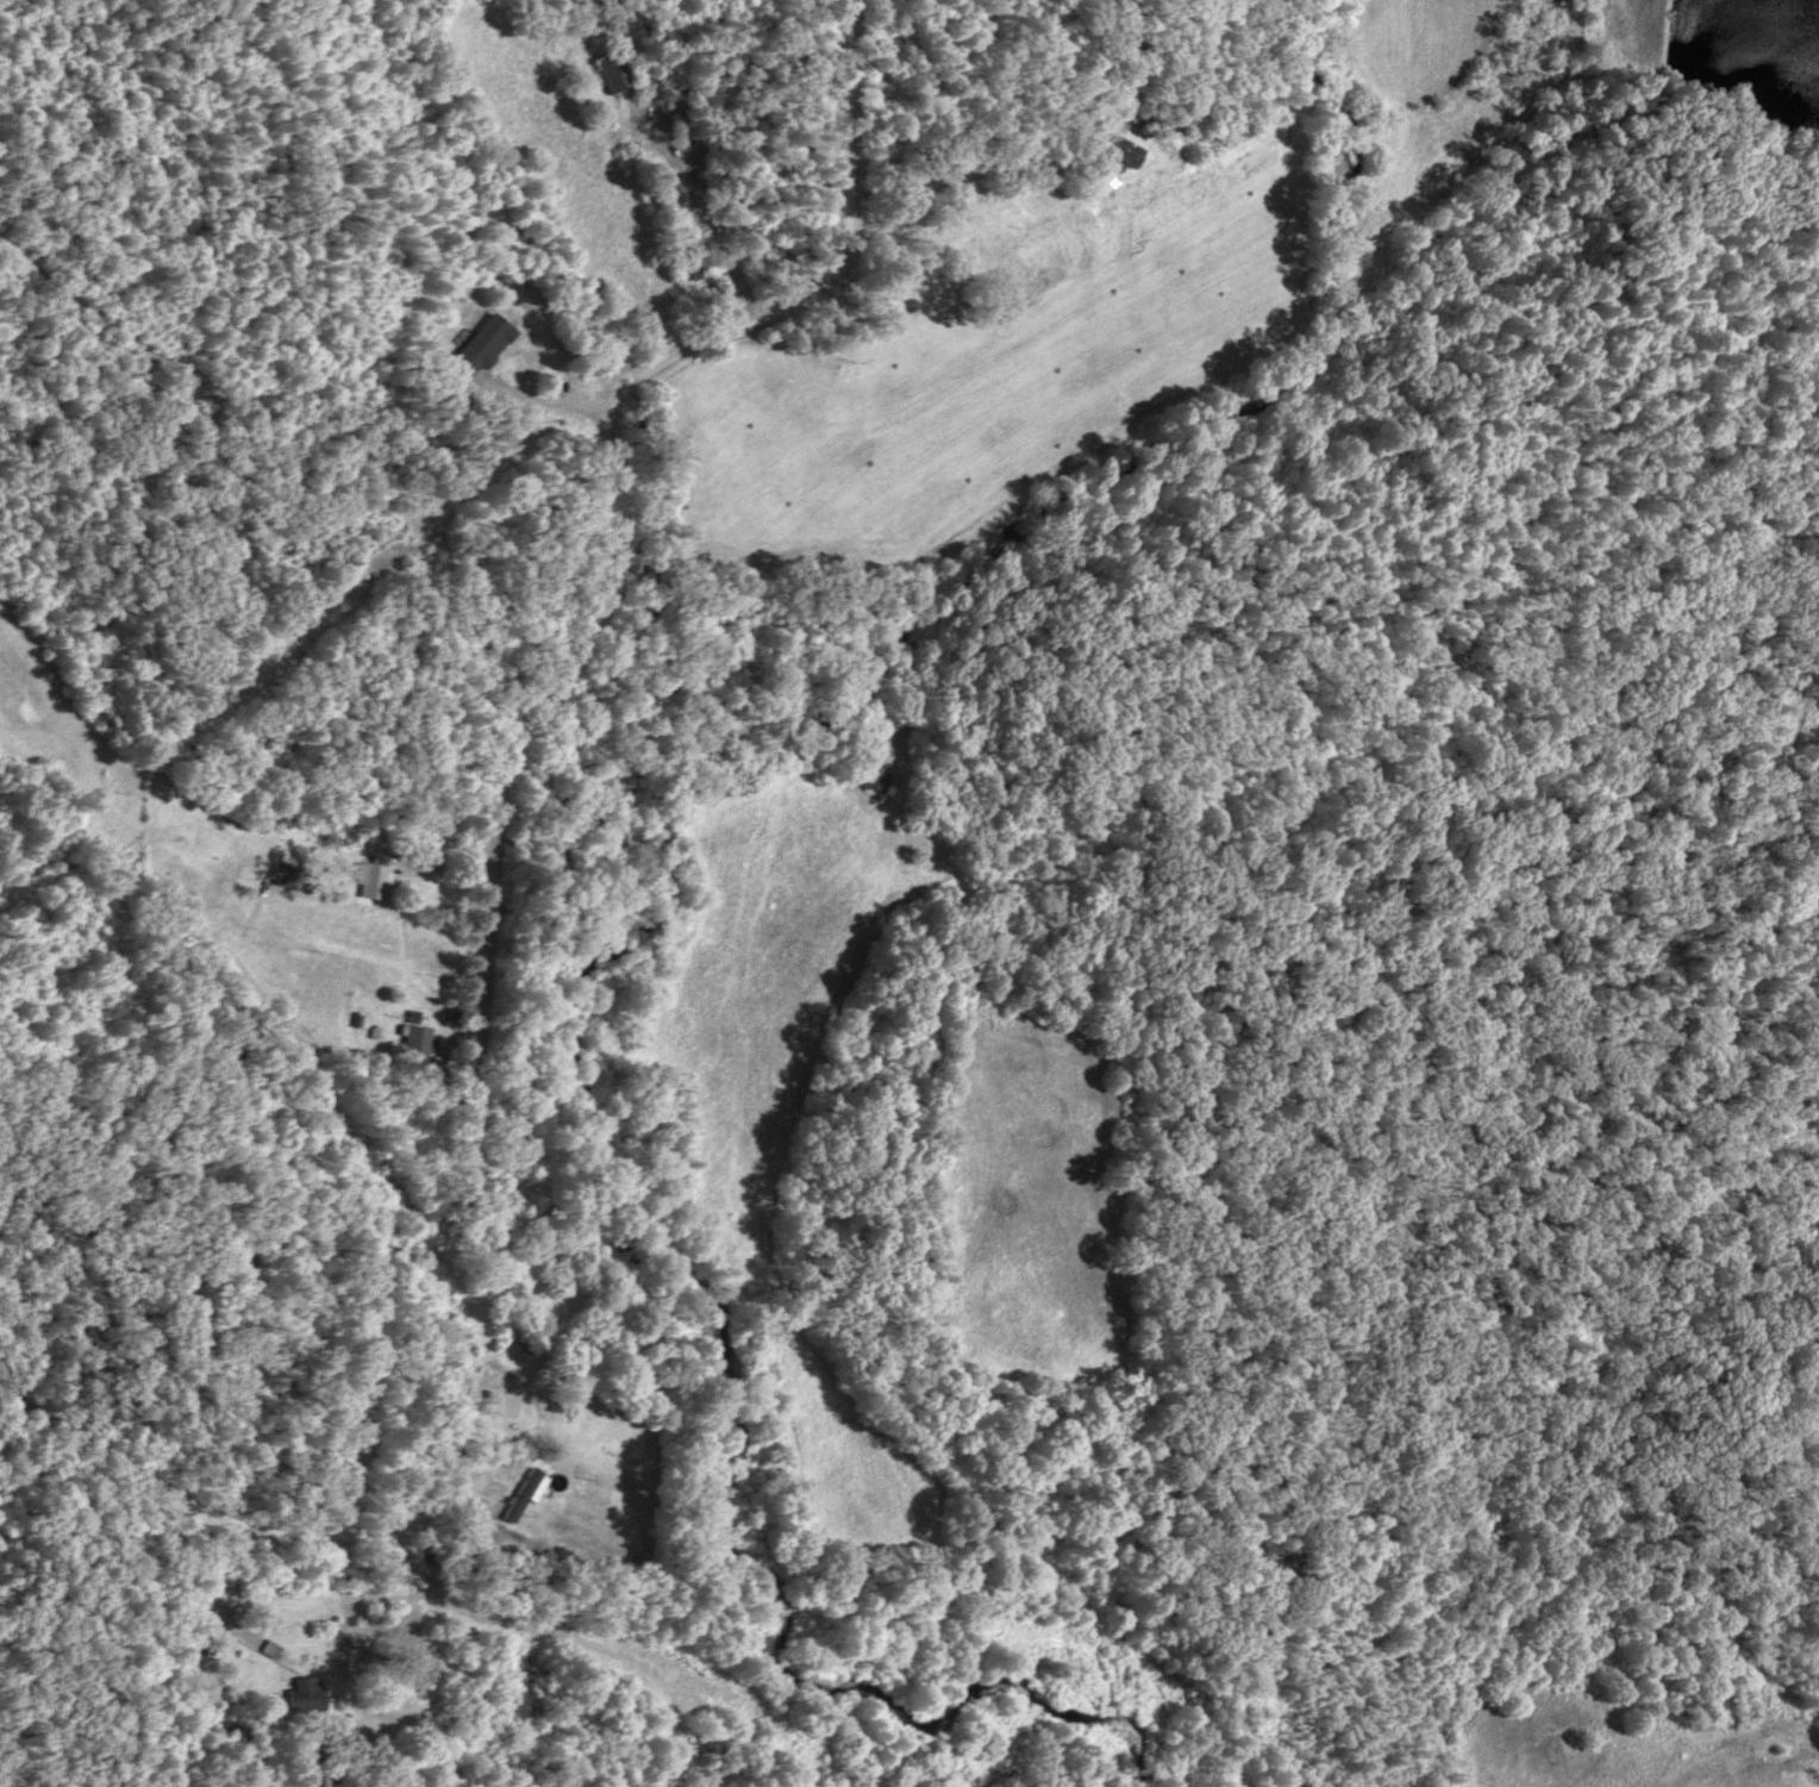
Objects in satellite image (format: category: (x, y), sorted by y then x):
building: (612, 70)
building: (1113, 151)
road: (955, 179)
road: (701, 210)
building: (708, 299)
building: (471, 346)
road: (548, 400)
road: (1817, 637)
building: (875, 779)
building: (369, 881)
road: (490, 914)
building: (413, 1049)
building: (506, 1414)
building: (520, 1497)
building: (210, 1648)
building: (304, 1697)

